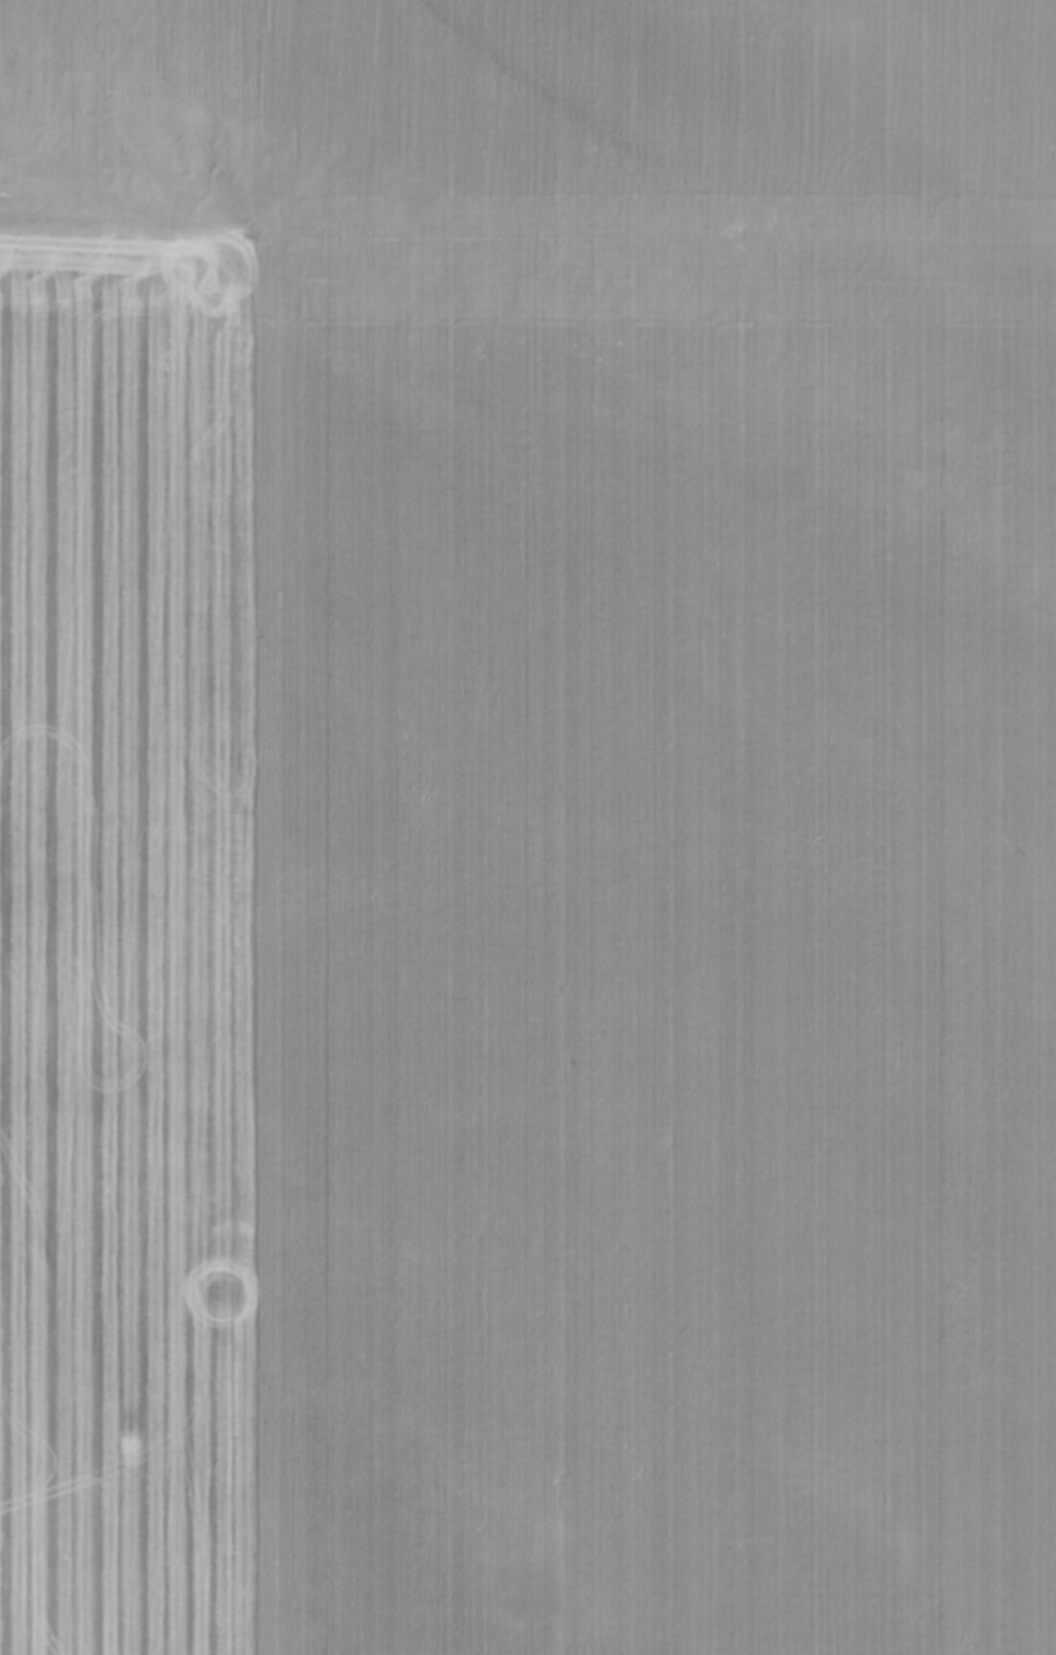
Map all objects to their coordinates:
crop: (527, 827)

